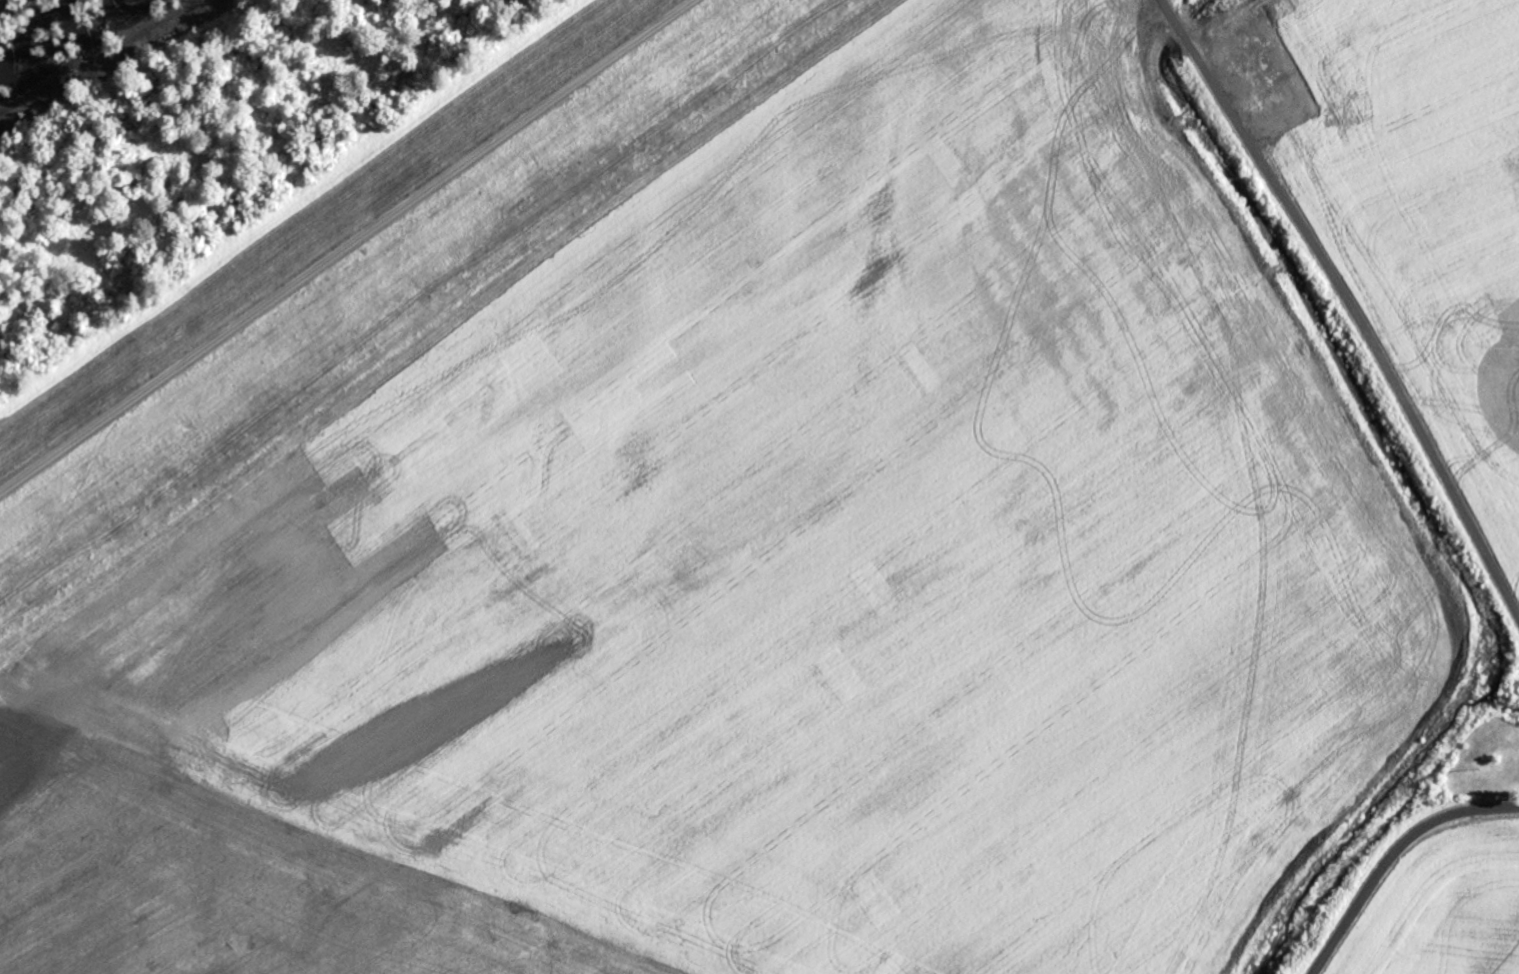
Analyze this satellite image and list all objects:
road: (346, 244)
road: (1350, 303)
road: (1393, 855)

